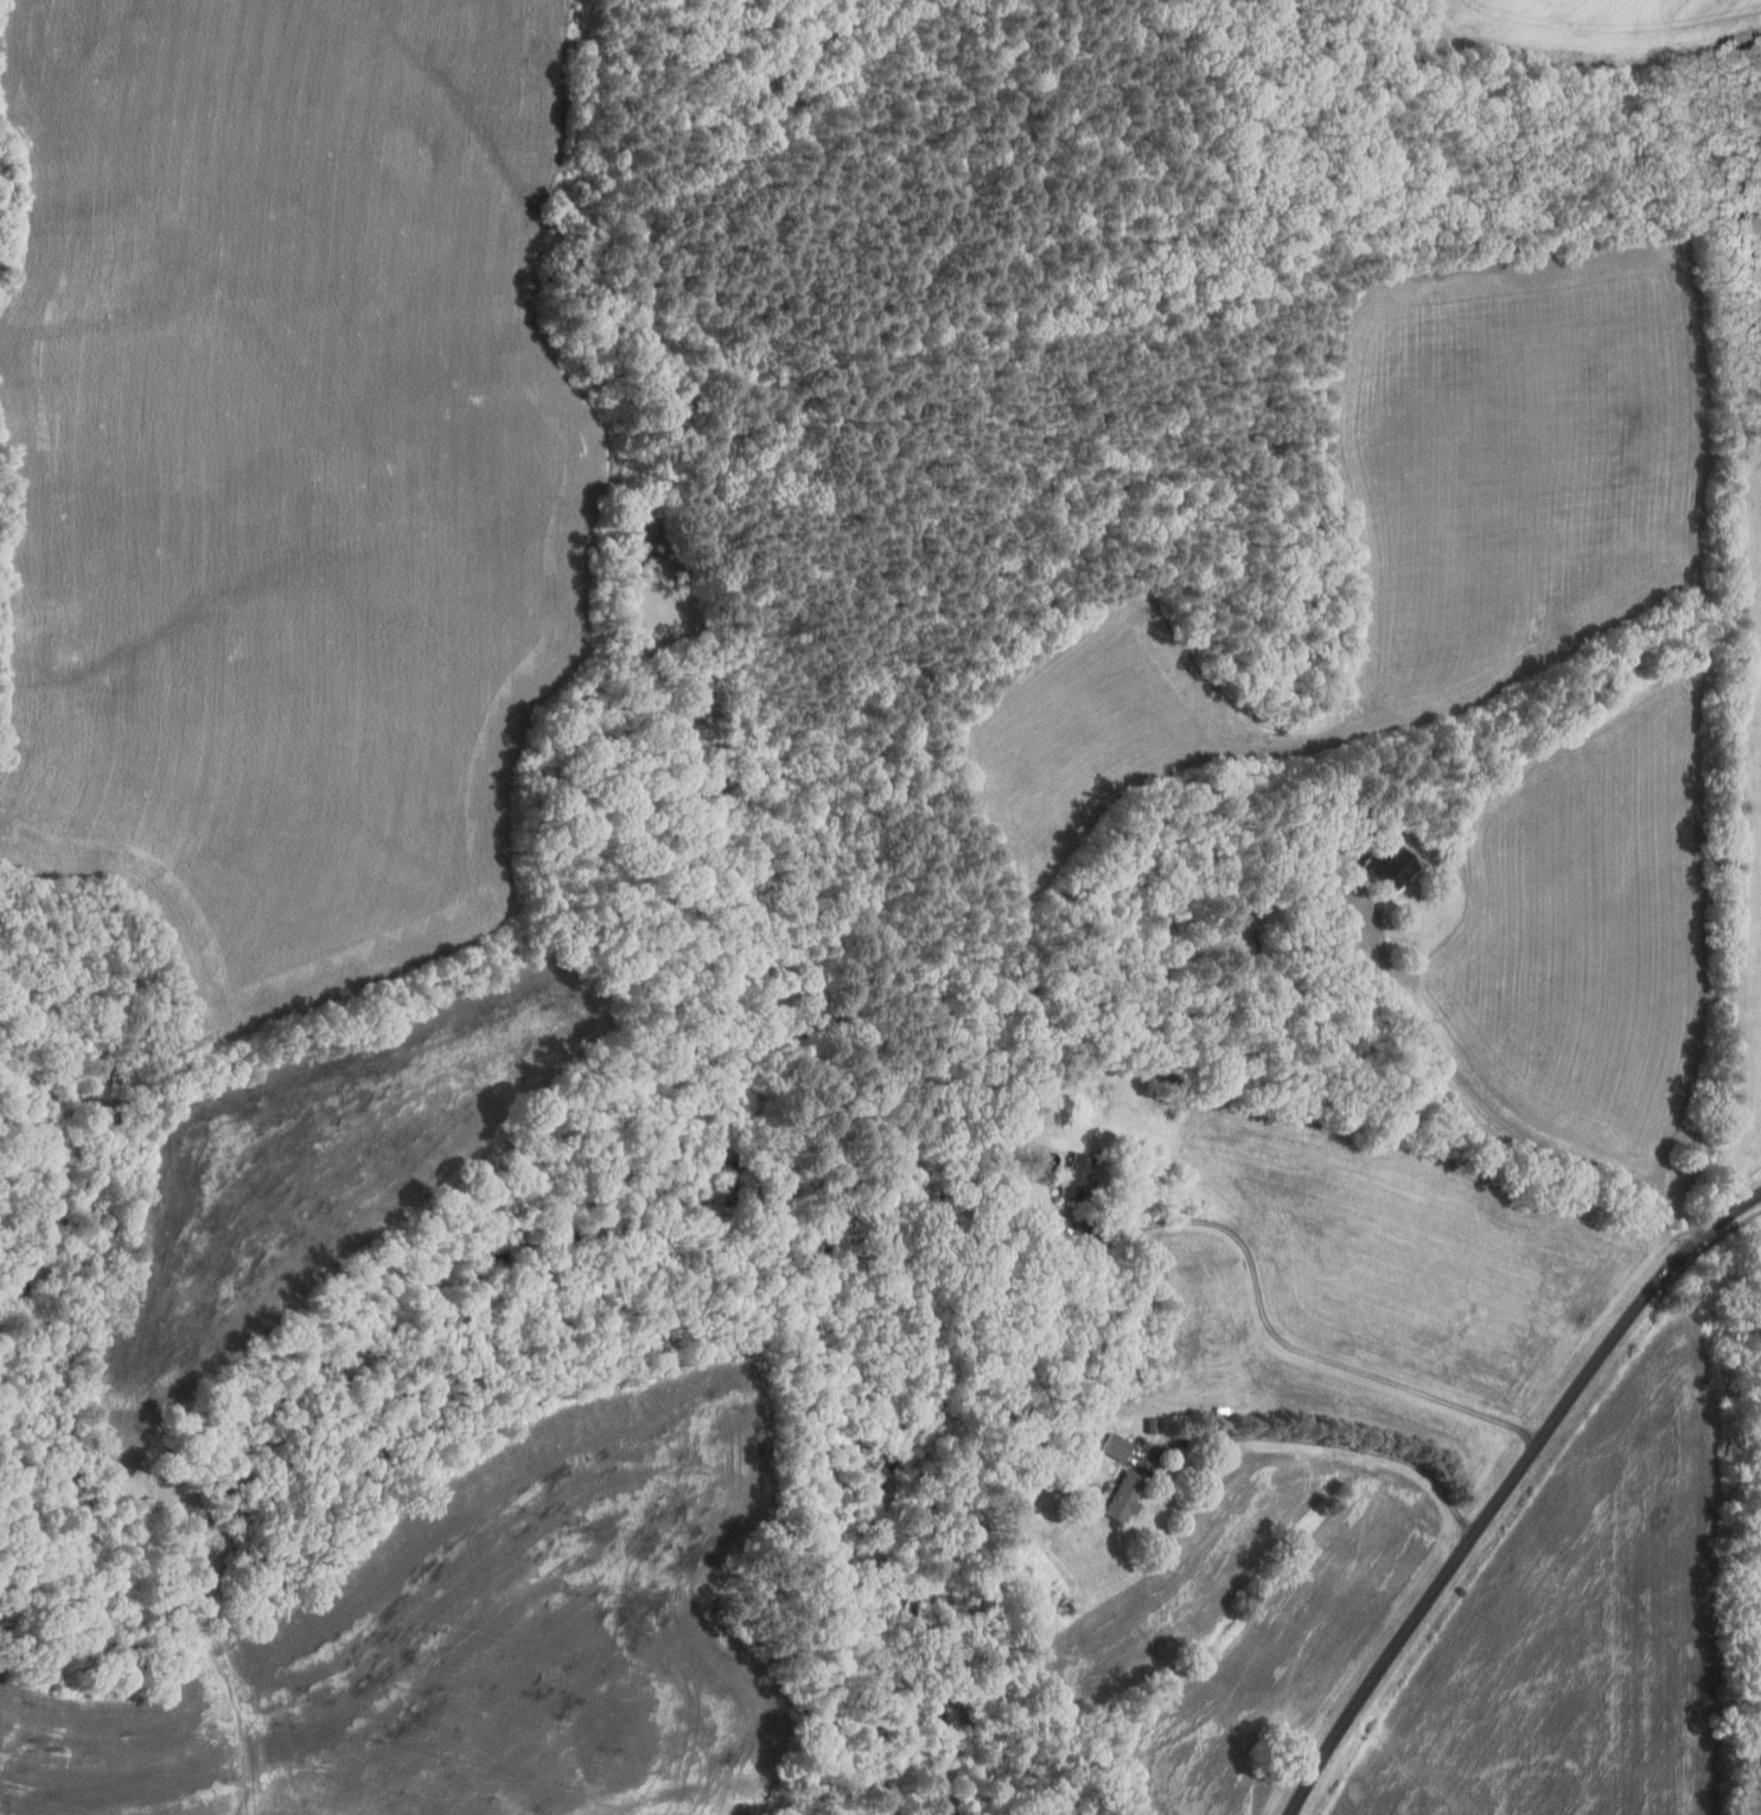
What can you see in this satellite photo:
building: (1391, 866)
building: (1170, 1071)
road: (1488, 1113)
building: (1074, 1177)
road: (1271, 1332)
building: (997, 1418)
building: (1149, 1425)
road: (1331, 1444)
building: (1111, 1446)
road: (1506, 1486)
building: (1121, 1496)

